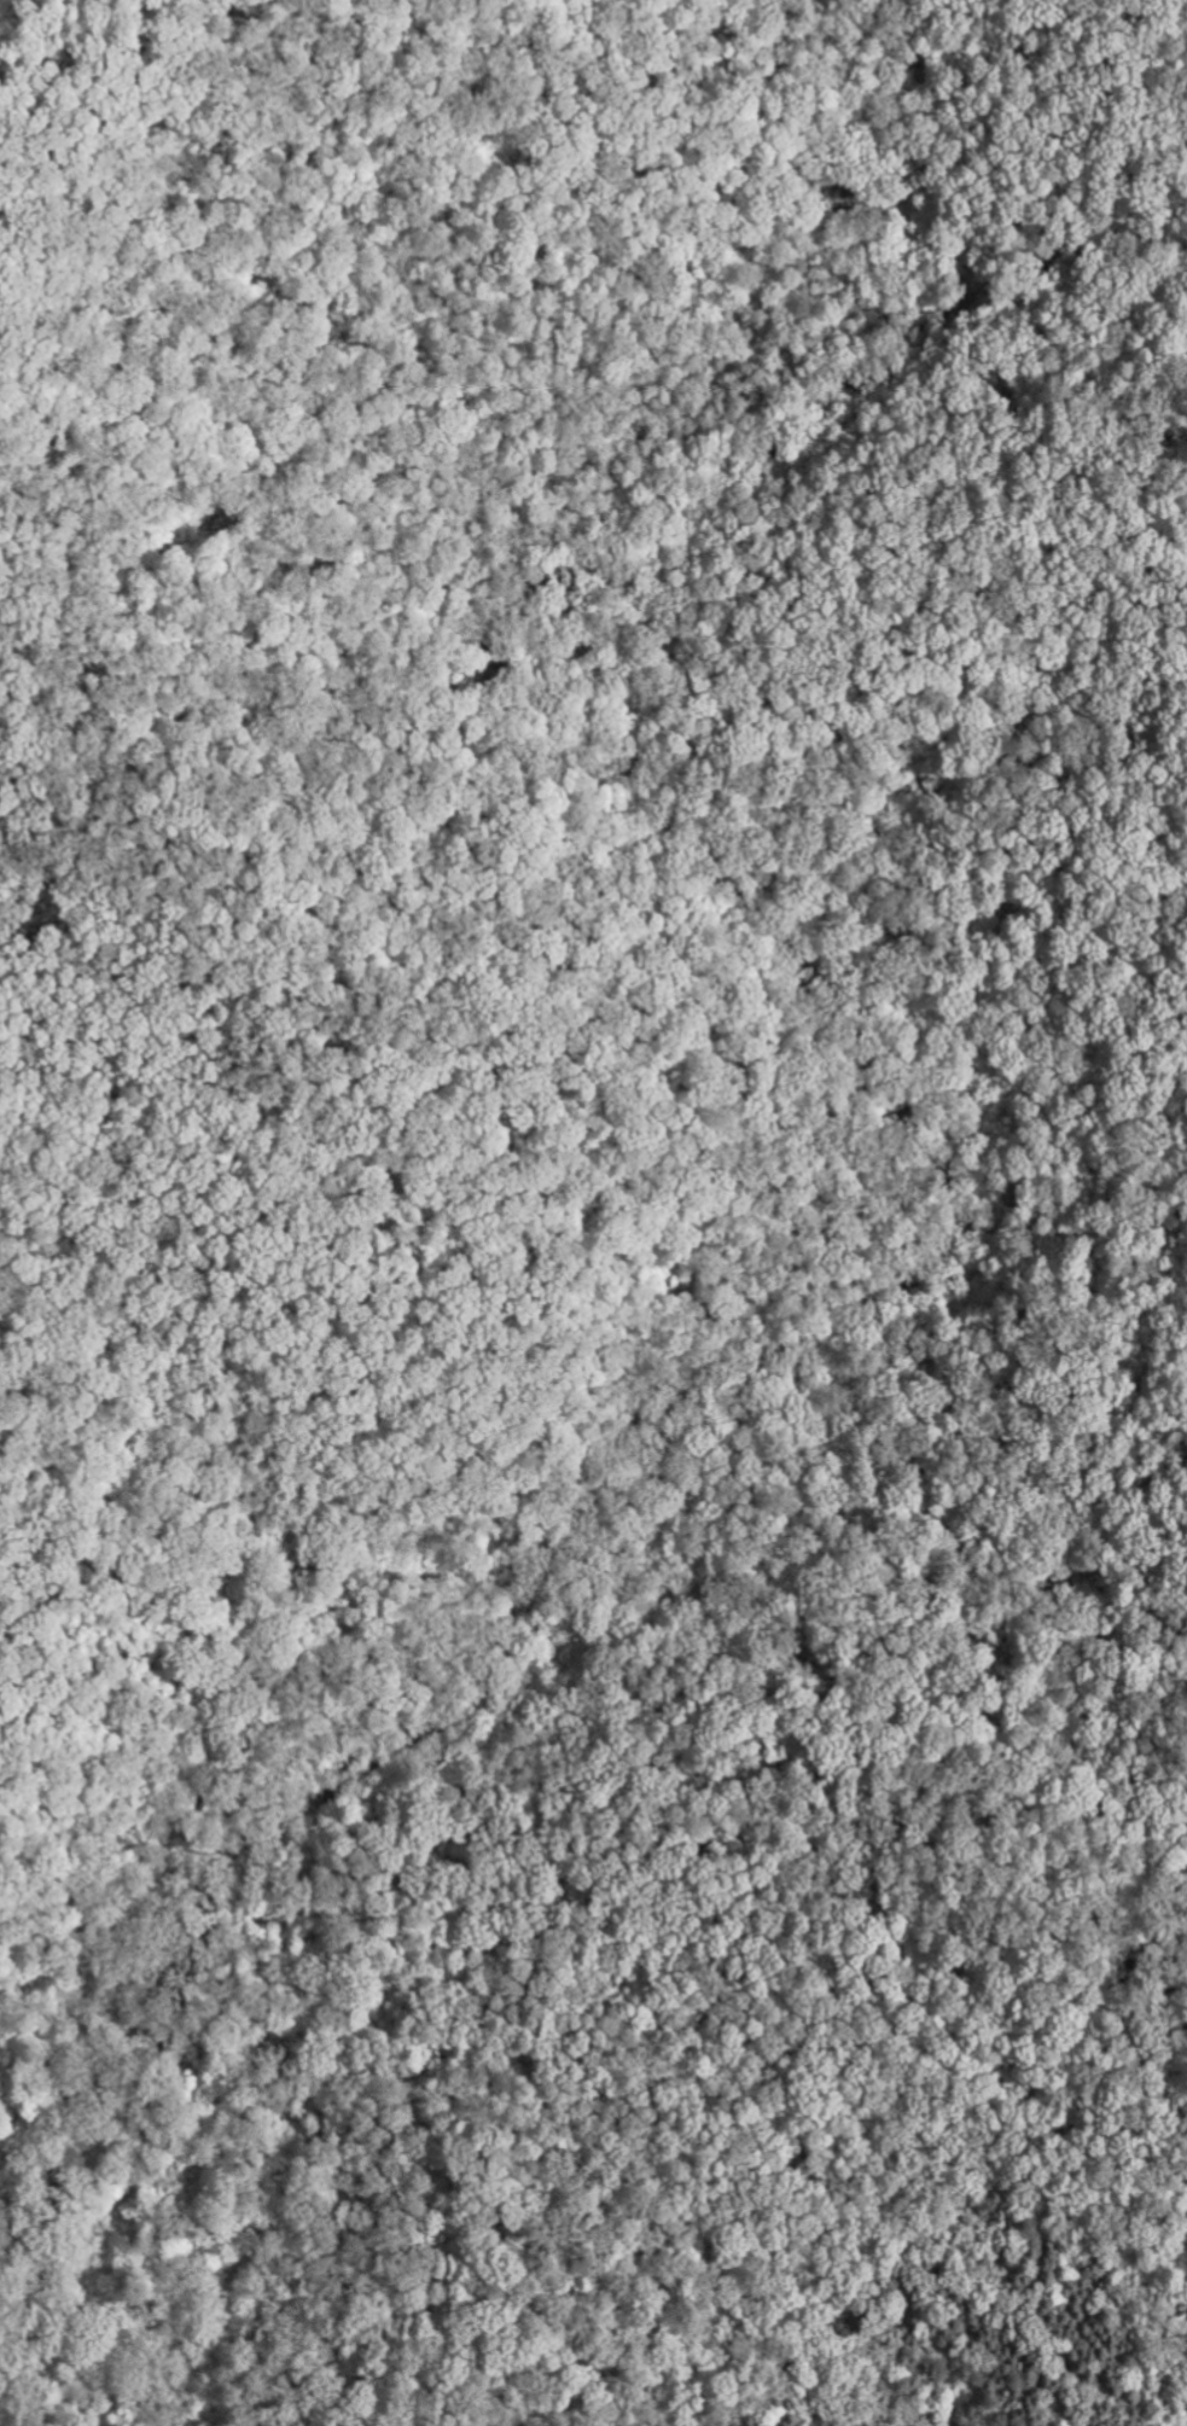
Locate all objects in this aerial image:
road: (624, 205)
road: (91, 264)
road: (48, 791)

